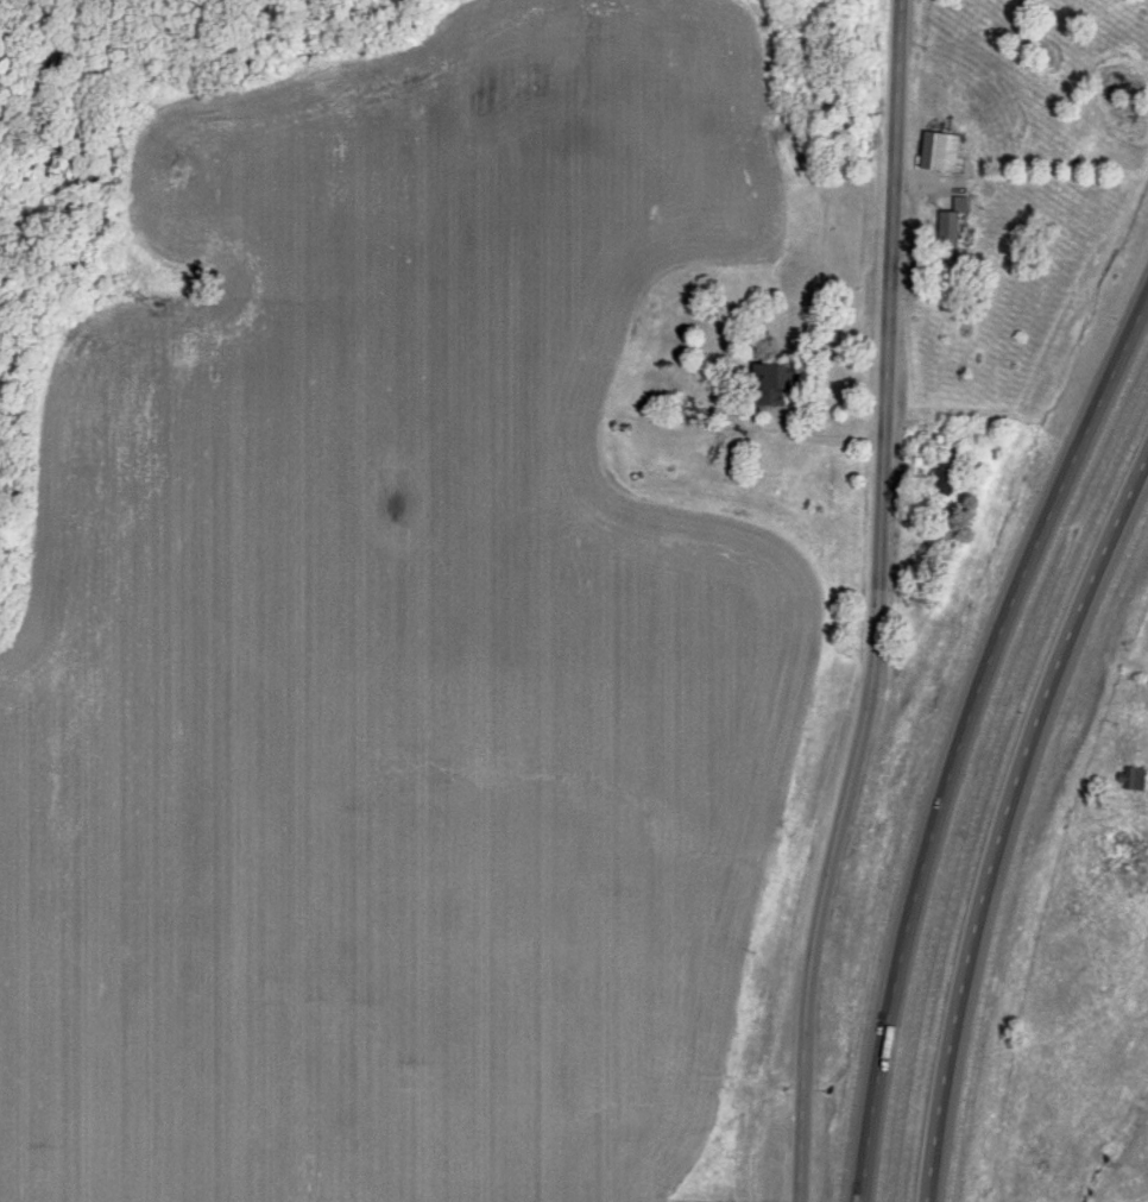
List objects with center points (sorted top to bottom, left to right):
building: (934, 163)
building: (951, 471)
road: (883, 606)
road: (961, 740)
building: (1135, 779)
road: (1007, 819)
road: (1104, 839)

